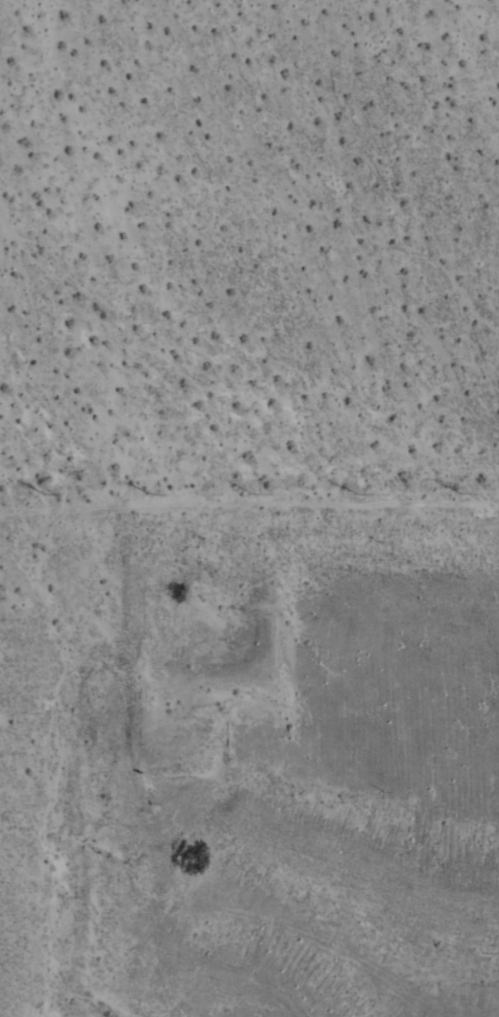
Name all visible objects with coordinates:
road: (249, 520)

